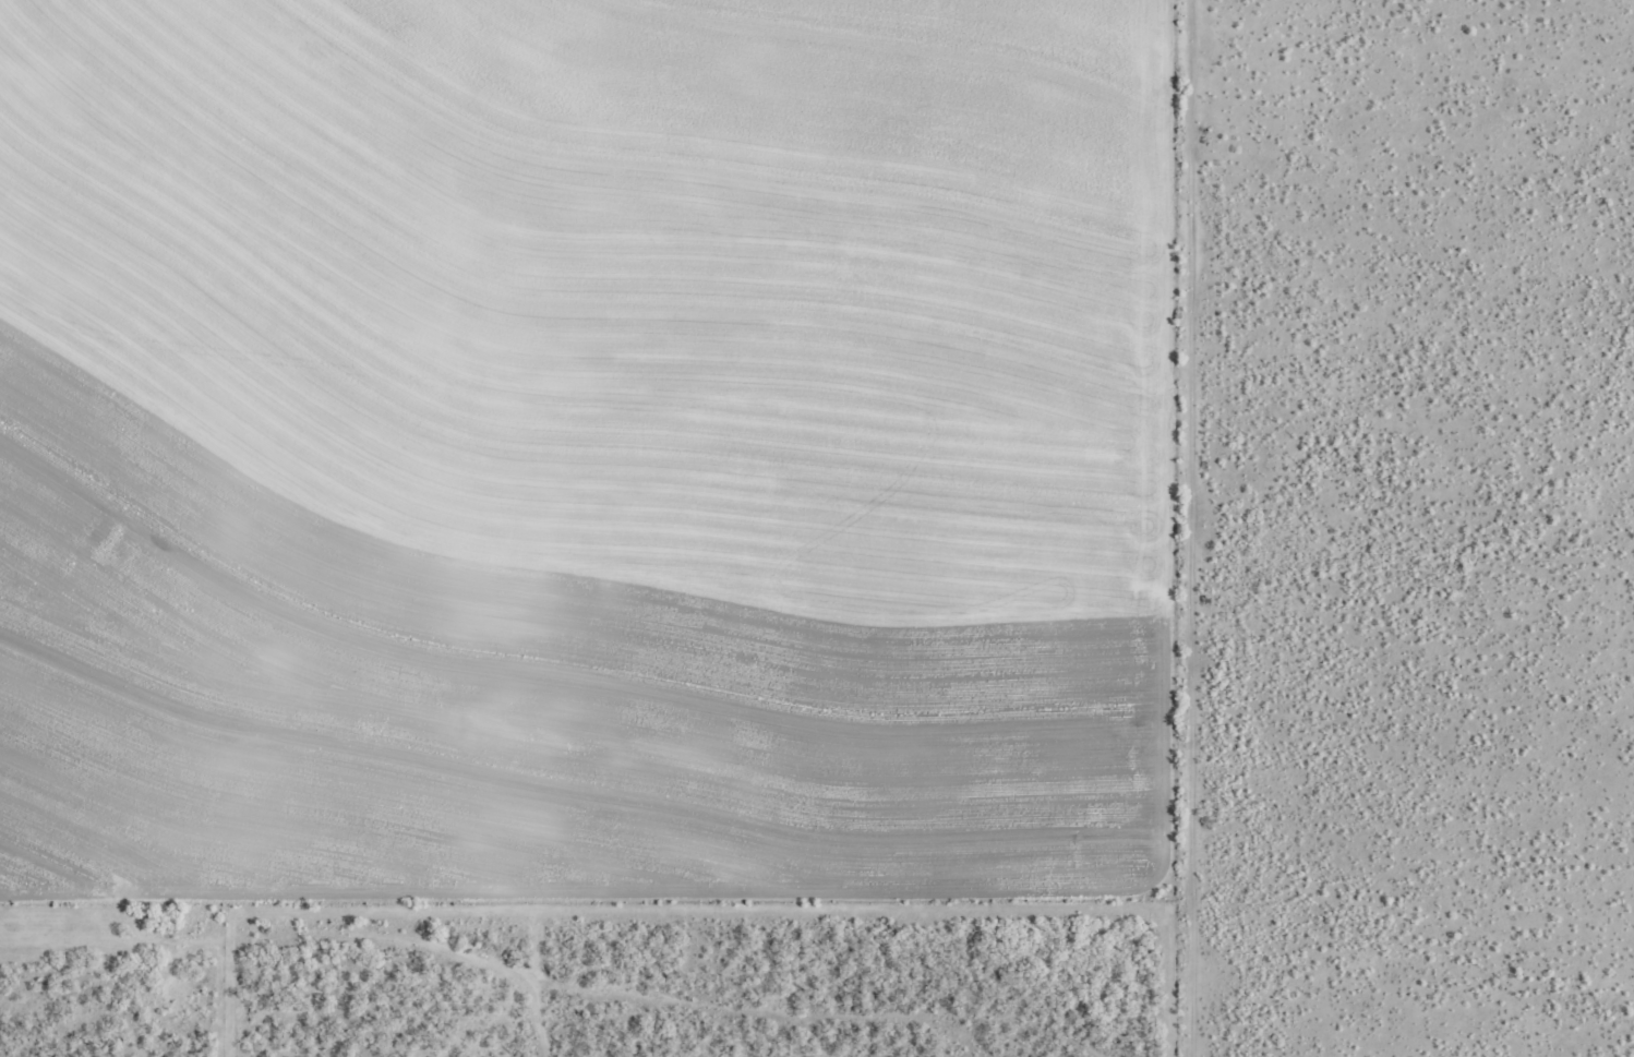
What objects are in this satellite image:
road: (1222, 528)

